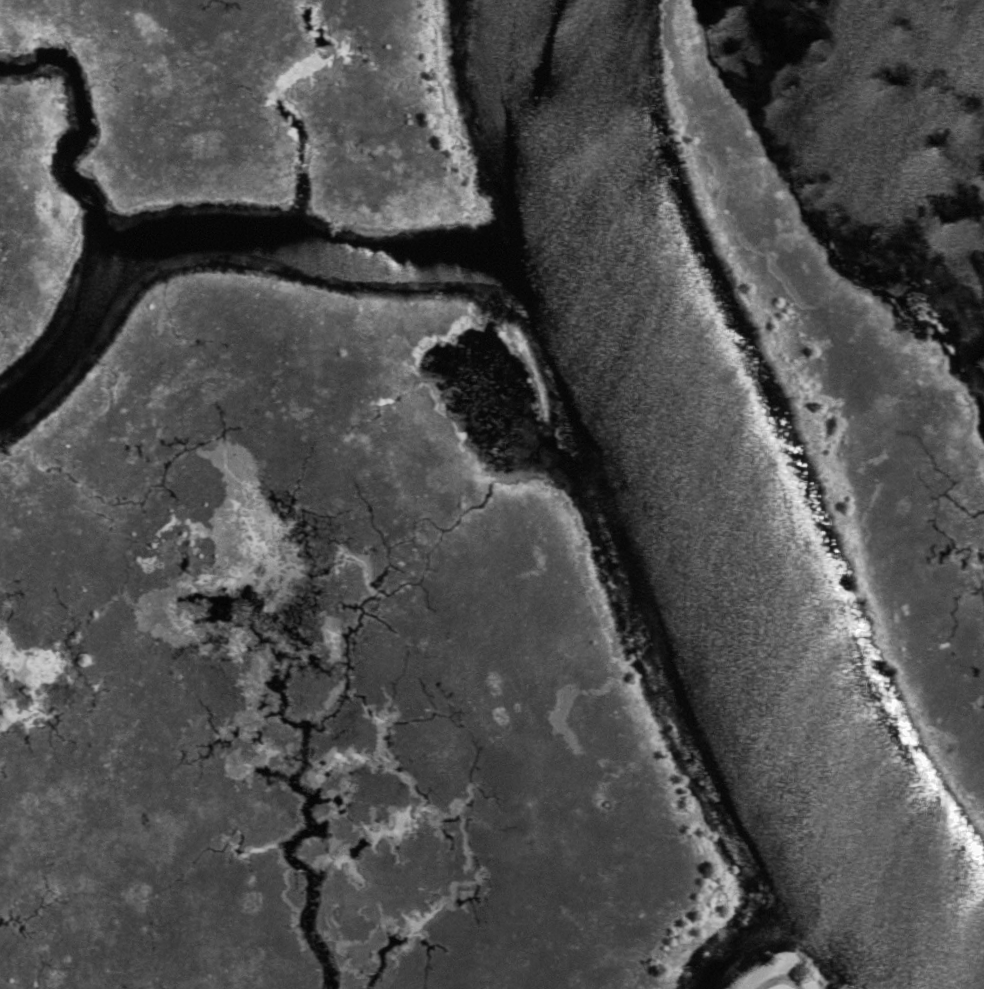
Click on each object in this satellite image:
river: (261, 243)
river: (697, 522)
river: (779, 912)

